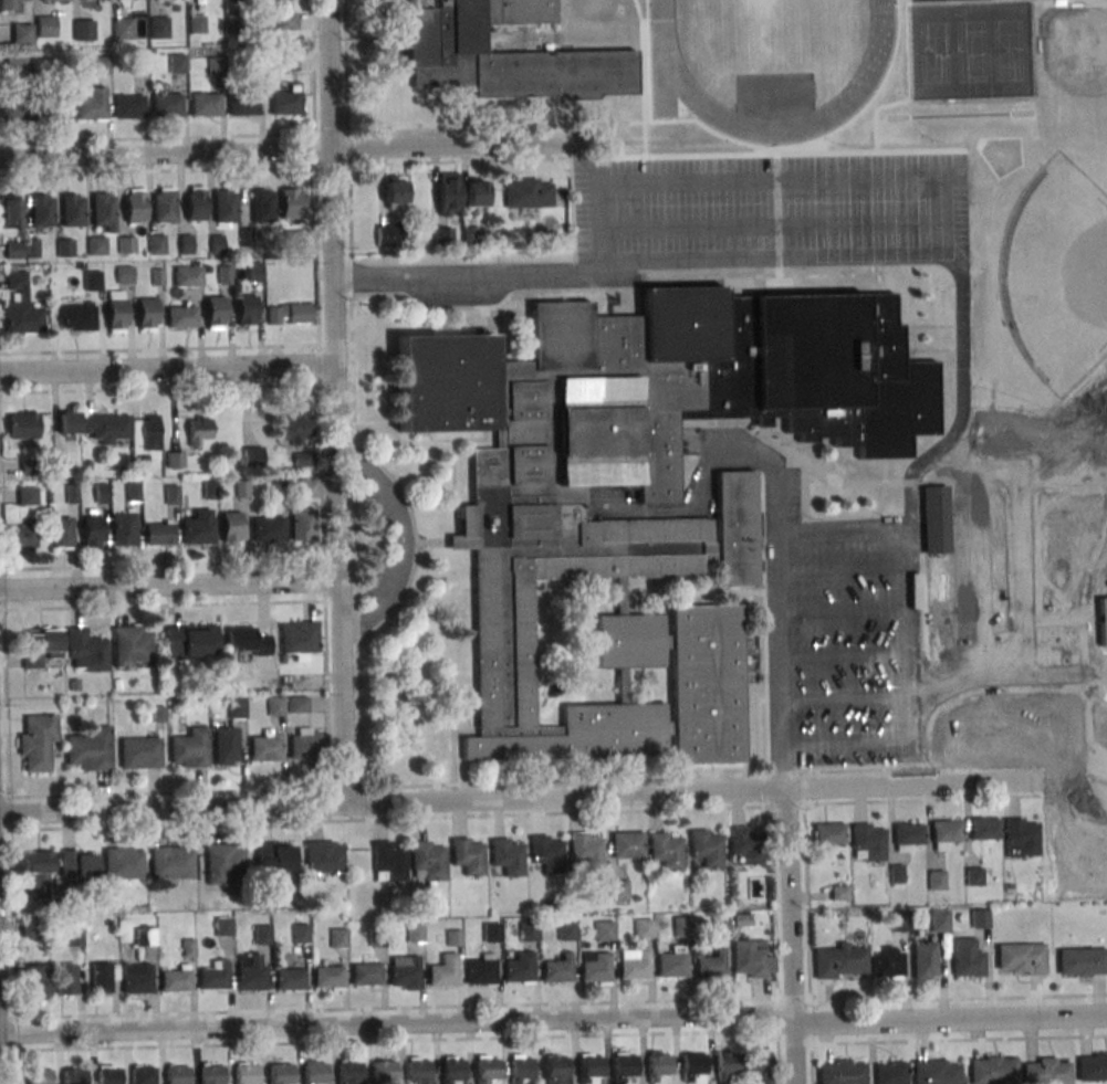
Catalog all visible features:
park: (919, 0)
building: (92, 1)
building: (8, 4)
building: (421, 4)
park: (766, 9)
building: (516, 11)
building: (285, 21)
building: (195, 23)
building: (233, 23)
building: (44, 27)
building: (157, 27)
building: (82, 29)
building: (123, 30)
building: (21, 32)
road: (908, 45)
park: (1077, 51)
park: (973, 52)
track: (772, 55)
building: (503, 60)
building: (288, 62)
building: (176, 63)
building: (215, 65)
building: (15, 66)
building: (103, 66)
building: (139, 66)
road: (313, 66)
road: (345, 66)
building: (62, 73)
road: (644, 75)
building: (284, 101)
building: (91, 103)
building: (166, 104)
building: (205, 104)
building: (242, 104)
building: (128, 106)
building: (53, 109)
building: (15, 110)
road: (623, 124)
road: (457, 128)
road: (331, 134)
road: (157, 138)
road: (440, 148)
road: (315, 149)
road: (347, 149)
road: (164, 154)
road: (459, 161)
road: (331, 166)
road: (157, 170)
road: (776, 183)
building: (394, 191)
building: (448, 192)
building: (528, 192)
building: (474, 193)
building: (195, 202)
building: (290, 202)
building: (164, 203)
building: (134, 204)
parking lot: (767, 204)
building: (262, 207)
building: (224, 208)
building: (41, 211)
building: (73, 211)
building: (11, 212)
building: (104, 212)
road: (595, 218)
road: (330, 227)
road: (776, 228)
building: (386, 232)
building: (246, 236)
building: (442, 236)
building: (470, 236)
building: (294, 240)
building: (155, 243)
building: (185, 243)
building: (125, 244)
building: (217, 244)
building: (95, 245)
building: (32, 249)
building: (65, 249)
building: (13, 251)
road: (316, 256)
road: (901, 259)
building: (255, 272)
building: (124, 274)
building: (224, 274)
park: (1058, 275)
building: (187, 276)
building: (158, 277)
building: (92, 280)
building: (20, 306)
building: (246, 309)
building: (116, 312)
building: (215, 312)
building: (289, 313)
building: (146, 314)
building: (180, 316)
building: (76, 317)
road: (159, 349)
road: (166, 366)
road: (318, 366)
road: (336, 382)
road: (159, 387)
road: (962, 401)
building: (22, 425)
building: (70, 427)
building: (295, 428)
building: (106, 429)
building: (199, 430)
building: (144, 442)
road: (712, 454)
building: (175, 459)
building: (258, 459)
building: (303, 460)
building: (61, 464)
building: (31, 469)
road: (322, 475)
road: (355, 476)
building: (282, 483)
building: (307, 486)
building: (242, 490)
building: (210, 491)
building: (134, 493)
building: (102, 494)
building: (25, 495)
building: (72, 495)
building: (171, 495)
building: (934, 518)
building: (302, 524)
building: (230, 526)
building: (198, 527)
building: (606, 527)
road: (844, 527)
building: (123, 528)
building: (267, 529)
building: (91, 530)
building: (61, 532)
building: (158, 533)
building: (21, 535)
road: (405, 543)
road: (340, 551)
road: (161, 565)
road: (844, 568)
road: (324, 581)
road: (168, 586)
road: (161, 606)
road: (845, 611)
building: (1103, 620)
road: (337, 629)
road: (913, 633)
building: (297, 636)
parking lot: (846, 638)
building: (244, 639)
road: (777, 639)
building: (190, 641)
building: (40, 645)
building: (132, 645)
building: (86, 651)
road: (846, 655)
building: (117, 684)
building: (74, 685)
road: (325, 692)
road: (847, 696)
building: (296, 704)
building: (275, 707)
building: (237, 708)
building: (158, 715)
building: (36, 743)
building: (303, 743)
building: (226, 745)
building: (265, 745)
road: (848, 746)
building: (189, 747)
building: (90, 748)
building: (139, 753)
road: (783, 768)
road: (564, 781)
road: (345, 789)
road: (767, 789)
road: (8, 790)
road: (164, 792)
road: (515, 798)
road: (362, 802)
road: (328, 804)
road: (518, 813)
building: (984, 828)
building: (829, 832)
building: (946, 832)
building: (907, 835)
building: (1021, 836)
building: (867, 841)
building: (627, 844)
building: (746, 846)
building: (707, 850)
building: (586, 852)
building: (666, 852)
building: (546, 855)
building: (274, 856)
building: (468, 857)
building: (324, 859)
building: (508, 859)
building: (171, 861)
building: (429, 861)
building: (123, 862)
building: (389, 862)
building: (79, 864)
building: (223, 864)
building: (36, 873)
building: (895, 874)
building: (973, 875)
building: (937, 878)
building: (617, 892)
building: (839, 892)
road: (807, 903)
building: (980, 917)
building: (742, 920)
building: (898, 920)
building: (939, 920)
building: (1056, 920)
building: (108, 923)
building: (720, 924)
building: (223, 927)
building: (682, 928)
building: (30, 929)
building: (643, 929)
building: (529, 932)
building: (566, 932)
building: (604, 932)
building: (300, 934)
building: (491, 934)
building: (415, 935)
building: (262, 936)
road: (791, 936)
building: (75, 937)
building: (377, 937)
building: (145, 938)
building: (453, 938)
building: (338, 939)
road: (775, 945)
building: (188, 950)
building: (967, 957)
building: (1021, 958)
building: (749, 959)
building: (925, 959)
building: (838, 960)
building: (1082, 961)
building: (887, 962)
building: (671, 967)
building: (711, 967)
building: (520, 969)
building: (635, 969)
building: (596, 970)
building: (558, 971)
building: (250, 972)
building: (405, 972)
building: (443, 972)
building: (481, 974)
building: (366, 976)
building: (103, 977)
building: (66, 978)
building: (215, 978)
building: (327, 978)
building: (38, 979)
building: (137, 980)
building: (176, 980)
building: (290, 980)
road: (958, 999)
road: (793, 1001)
road: (395, 1007)
road: (7, 1018)
road: (554, 1020)
road: (406, 1040)
road: (937, 1041)
building: (727, 1062)
building: (759, 1064)
road: (811, 1064)
building: (691, 1065)
building: (623, 1066)
building: (657, 1066)
building: (1092, 1066)
building: (588, 1067)
building: (485, 1069)
building: (520, 1069)
building: (556, 1069)
building: (451, 1070)
building: (992, 1070)
building: (383, 1071)
building: (1046, 1071)
building: (314, 1072)
building: (347, 1072)
building: (417, 1072)
building: (840, 1072)
building: (890, 1072)
building: (934, 1072)
building: (244, 1073)
building: (279, 1073)
building: (177, 1074)
building: (211, 1074)
building: (143, 1075)
building: (74, 1076)
building: (108, 1076)
building: (41, 1077)

